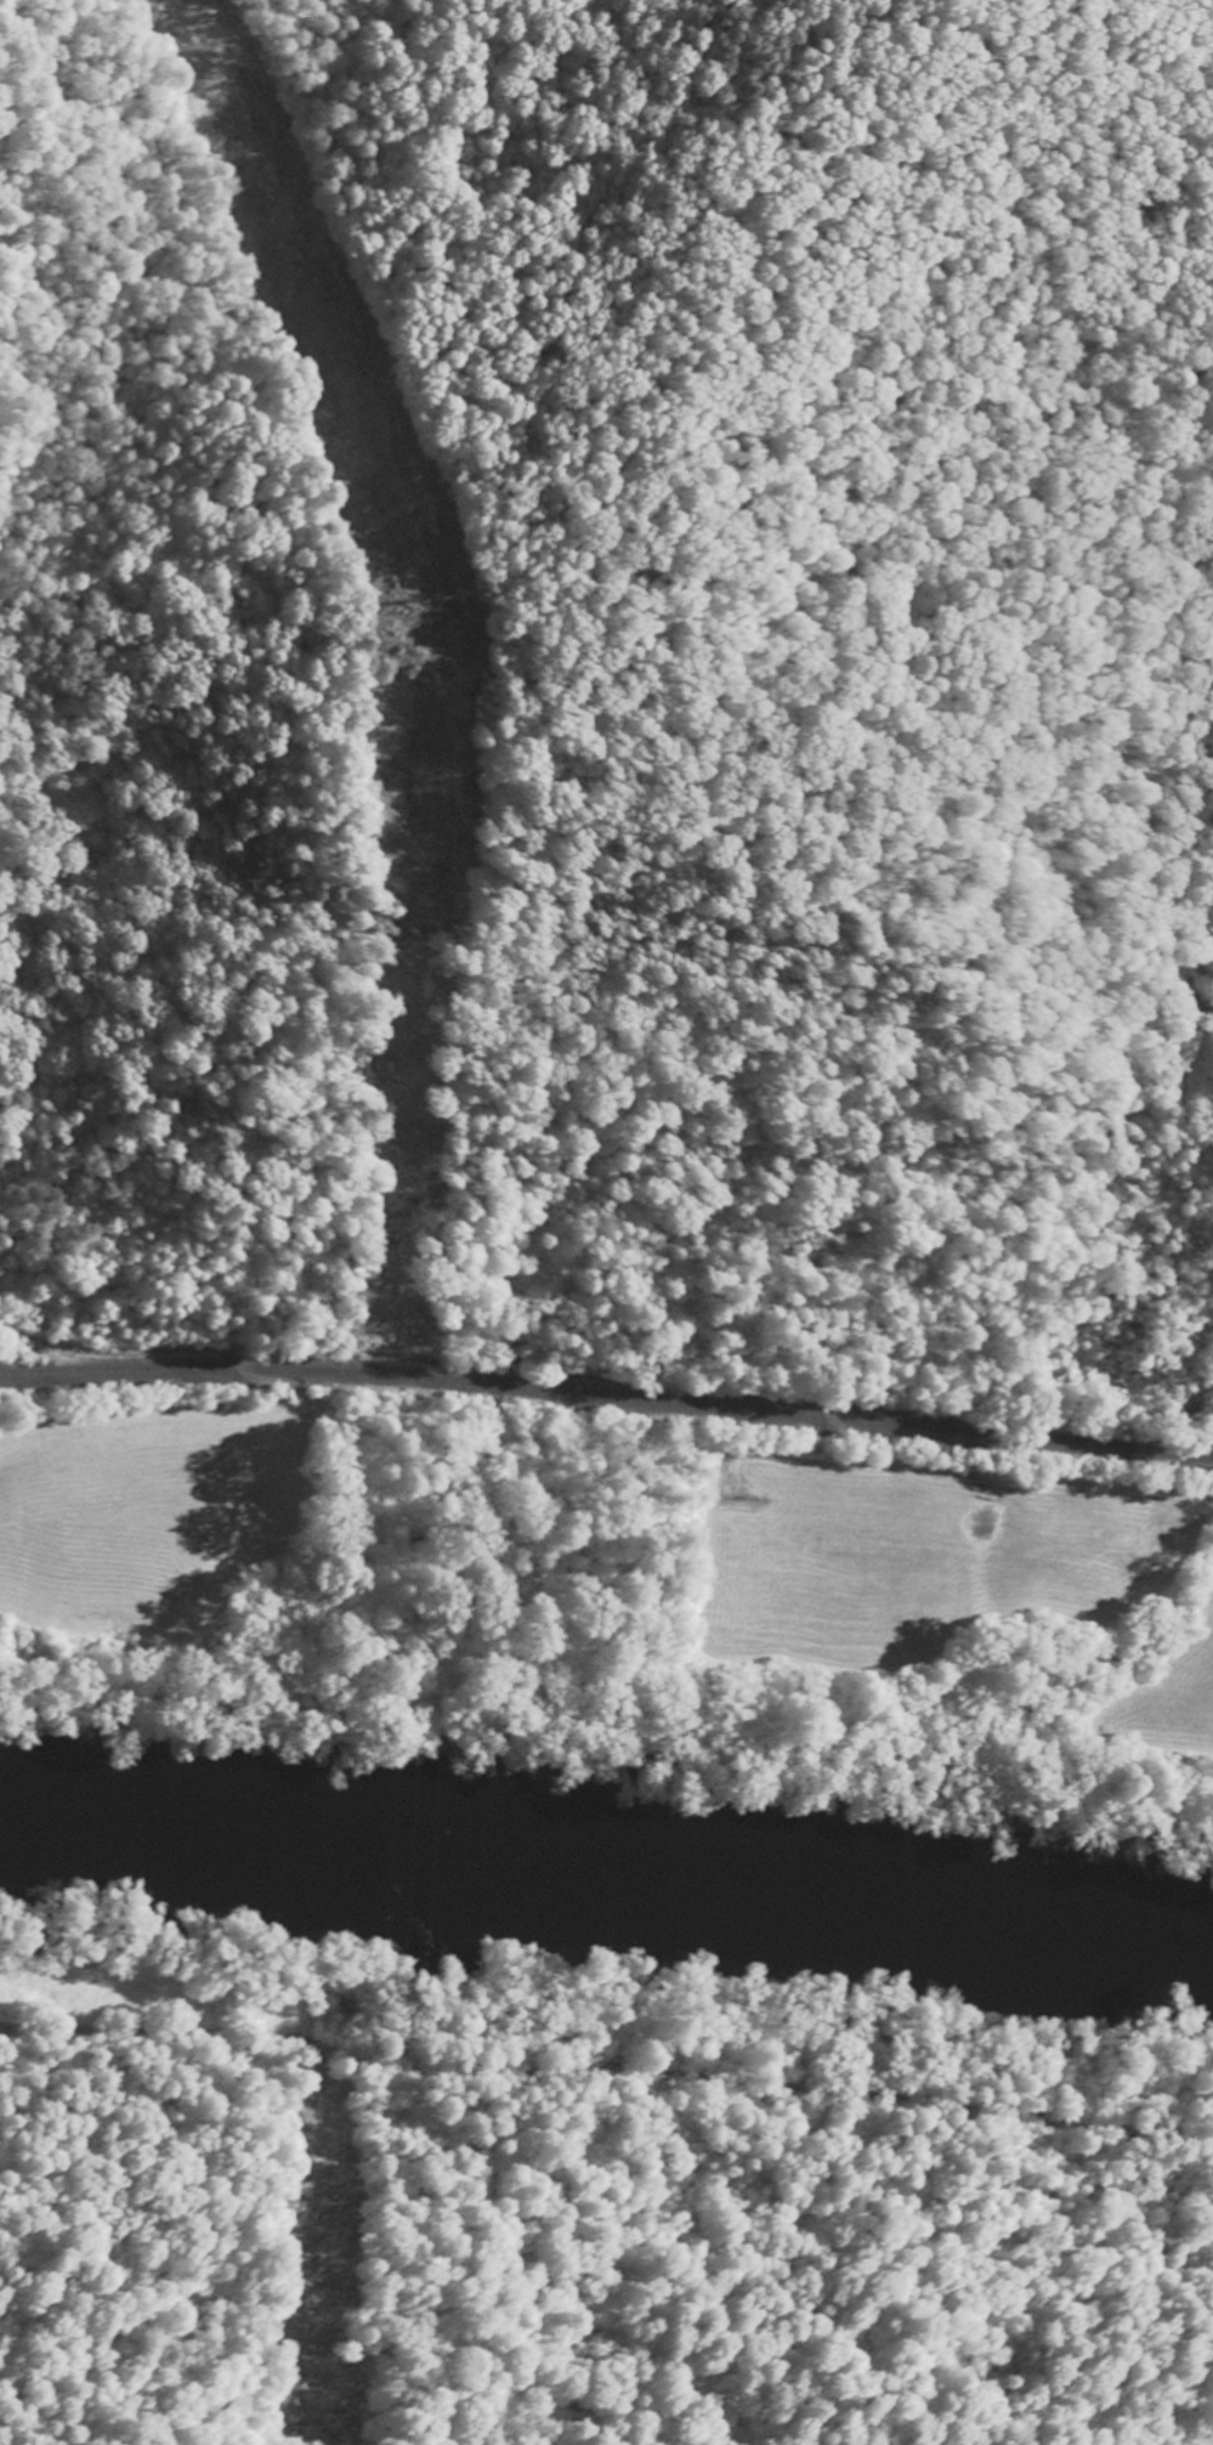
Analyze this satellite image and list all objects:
power tower: (441, 596)
railway: (607, 1377)
river: (607, 1864)
road: (607, 2076)

